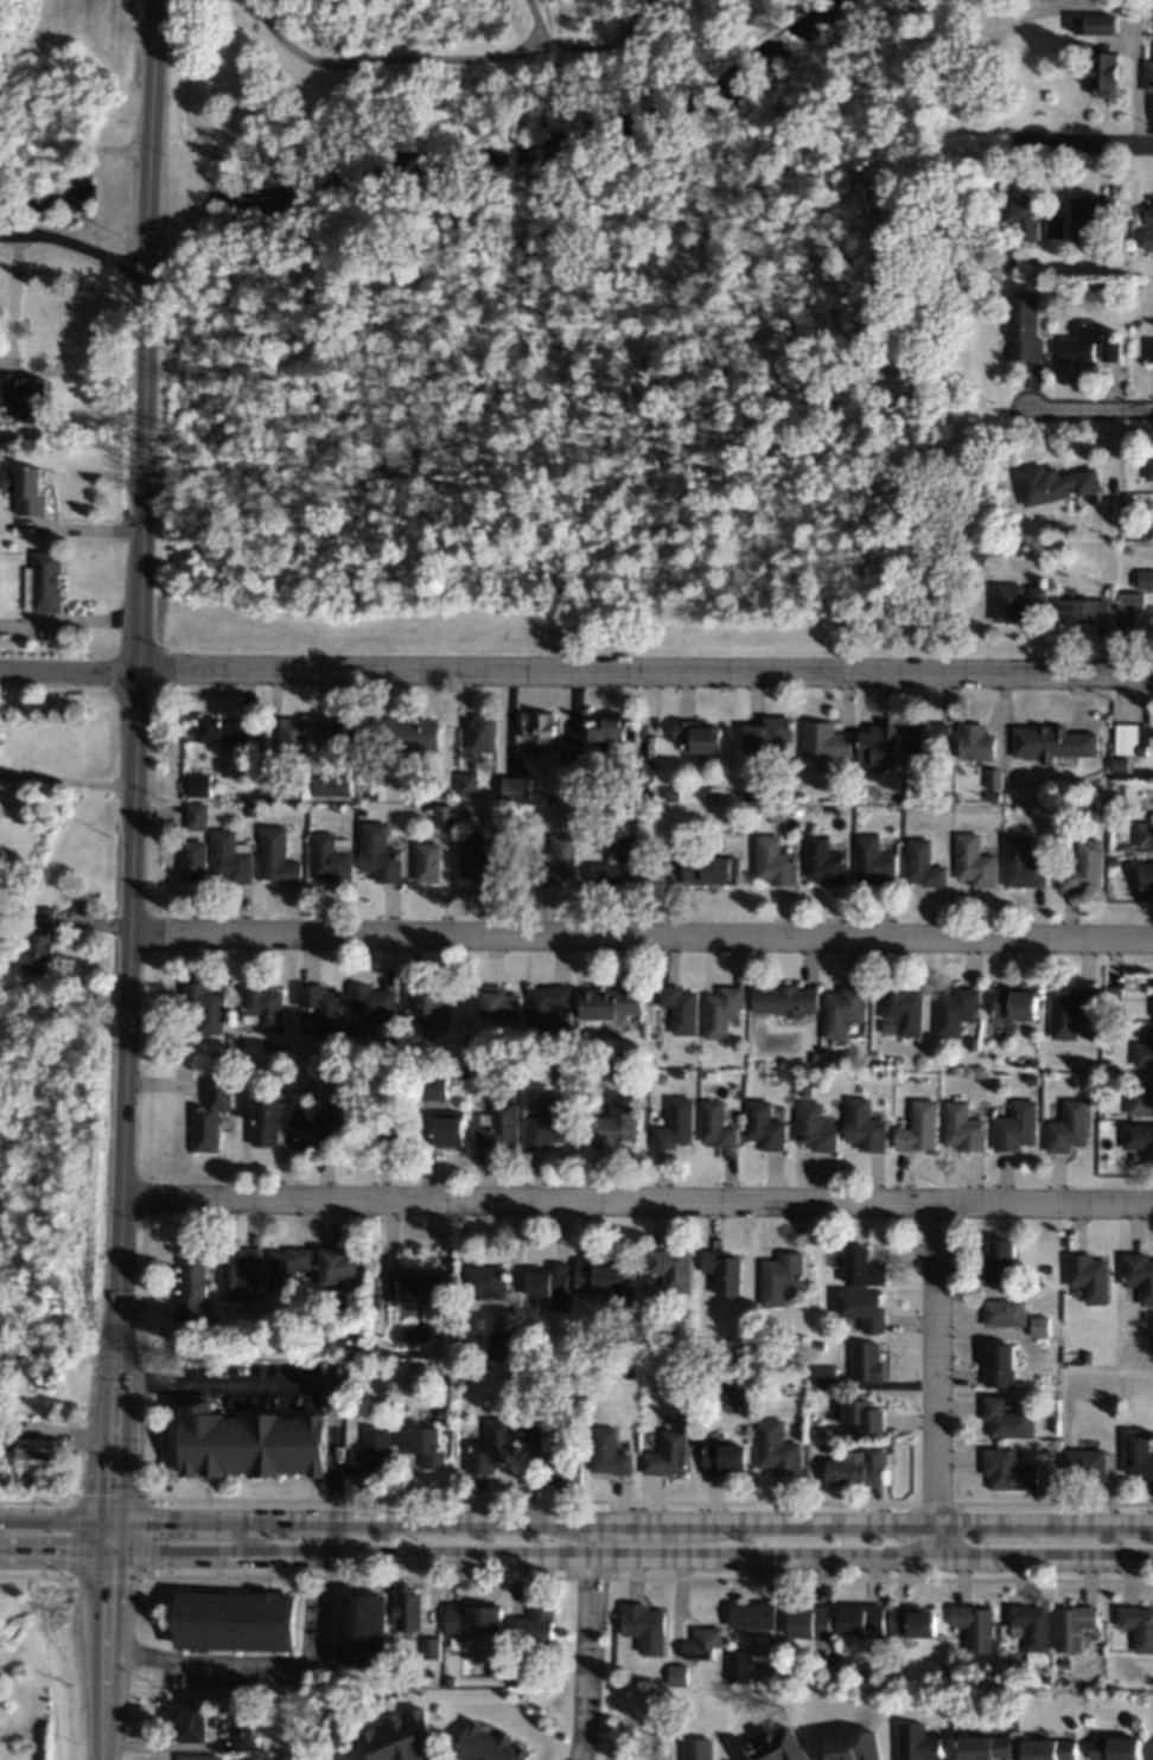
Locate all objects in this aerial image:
building: (1147, 4)
road: (535, 21)
building: (1100, 24)
road: (446, 58)
building: (1109, 72)
building: (1151, 76)
park: (66, 78)
building: (1052, 95)
river: (540, 141)
road: (1093, 149)
river: (151, 193)
river: (47, 197)
building: (1093, 213)
building: (1027, 215)
building: (1139, 215)
building: (1152, 218)
building: (1057, 227)
building: (1149, 237)
road: (74, 243)
building: (1015, 262)
building: (1063, 293)
road: (14, 300)
building: (1026, 325)
park: (579, 326)
road: (145, 334)
building: (1083, 342)
building: (1152, 349)
building: (1111, 350)
building: (23, 391)
road: (1093, 408)
building: (1149, 467)
building: (1057, 483)
building: (31, 489)
building: (1152, 531)
building: (1041, 553)
building: (1147, 579)
building: (44, 580)
building: (1020, 600)
building: (1132, 606)
building: (1085, 610)
road: (68, 669)
road: (643, 670)
road: (52, 688)
road: (120, 690)
building: (542, 726)
building: (228, 728)
building: (614, 729)
building: (339, 731)
building: (408, 732)
building: (485, 733)
building: (772, 733)
building: (1135, 733)
building: (295, 735)
building: (701, 736)
building: (929, 739)
building: (828, 740)
building: (979, 741)
building: (1056, 742)
building: (884, 745)
building: (573, 755)
building: (257, 763)
building: (1122, 763)
building: (645, 770)
building: (275, 771)
building: (996, 778)
road: (65, 779)
building: (470, 782)
building: (299, 783)
building: (333, 784)
building: (203, 785)
building: (648, 786)
building: (518, 787)
building: (357, 791)
building: (675, 793)
building: (750, 795)
building: (364, 797)
building: (949, 797)
building: (554, 798)
building: (340, 806)
building: (254, 809)
building: (467, 810)
building: (447, 815)
building: (200, 816)
building: (1146, 834)
building: (1129, 847)
building: (382, 853)
building: (280, 855)
building: (235, 856)
building: (333, 859)
building: (485, 859)
building: (559, 859)
building: (197, 860)
building: (777, 860)
building: (827, 860)
building: (877, 860)
building: (976, 860)
building: (431, 861)
building: (1024, 861)
building: (1114, 861)
building: (622, 862)
building: (925, 862)
building: (714, 866)
building: (1084, 866)
building: (1148, 878)
road: (639, 936)
building: (37, 939)
building: (21, 993)
building: (1114, 996)
building: (1152, 997)
building: (786, 999)
building: (502, 1002)
building: (613, 1002)
building: (1018, 1002)
building: (266, 1005)
building: (208, 1006)
building: (371, 1006)
building: (429, 1006)
building: (682, 1007)
building: (326, 1008)
building: (550, 1008)
building: (724, 1009)
building: (845, 1009)
building: (906, 1009)
building: (958, 1009)
building: (1075, 1010)
building: (1107, 1013)
building: (52, 1016)
building: (4, 1035)
building: (976, 1040)
building: (1145, 1053)
building: (1106, 1054)
building: (218, 1056)
building: (815, 1057)
building: (234, 1059)
building: (829, 1060)
building: (1038, 1063)
building: (465, 1070)
building: (247, 1071)
building: (614, 1073)
building: (713, 1073)
building: (1036, 1079)
building: (439, 1086)
building: (807, 1089)
road: (121, 1095)
building: (1142, 1101)
building: (214, 1114)
building: (274, 1120)
building: (340, 1120)
building: (550, 1122)
building: (619, 1122)
building: (677, 1123)
building: (719, 1124)
building: (766, 1124)
building: (867, 1124)
building: (501, 1125)
building: (817, 1125)
building: (922, 1125)
building: (1019, 1125)
building: (966, 1127)
building: (1071, 1127)
building: (452, 1128)
building: (397, 1133)
building: (1108, 1137)
building: (1140, 1137)
road: (635, 1199)
building: (1005, 1261)
building: (340, 1265)
building: (291, 1267)
building: (865, 1267)
building: (675, 1268)
building: (1052, 1268)
building: (727, 1270)
building: (242, 1273)
building: (1140, 1273)
building: (604, 1275)
building: (1093, 1275)
building: (783, 1276)
building: (488, 1280)
building: (195, 1283)
building: (554, 1283)
building: (415, 1286)
building: (631, 1299)
building: (376, 1301)
building: (867, 1308)
building: (1008, 1312)
building: (1044, 1325)
building: (359, 1327)
building: (254, 1334)
building: (676, 1337)
building: (505, 1345)
building: (823, 1345)
building: (490, 1350)
building: (7, 1351)
building: (766, 1352)
building: (1090, 1357)
building: (871, 1360)
building: (1005, 1364)
building: (376, 1367)
building: (469, 1370)
building: (766, 1371)
building: (708, 1376)
building: (829, 1376)
building: (690, 1377)
road: (934, 1379)
road: (282, 1390)
building: (866, 1414)
building: (1011, 1417)
building: (817, 1423)
building: (535, 1428)
building: (254, 1442)
building: (426, 1443)
building: (33, 1446)
building: (495, 1447)
building: (782, 1447)
building: (376, 1449)
building: (1141, 1450)
building: (612, 1452)
building: (671, 1453)
building: (728, 1456)
building: (1090, 1462)
building: (566, 1466)
building: (1012, 1468)
building: (860, 1472)
traffic signals: (110, 1494)
road: (36, 1500)
road: (108, 1501)
road: (55, 1518)
traffic signals: (161, 1518)
road: (630, 1522)
road: (247, 1536)
road: (71, 1537)
road: (142, 1537)
road: (53, 1554)
traffic signals: (64, 1555)
road: (630, 1556)
road: (104, 1573)
traffic signals: (107, 1581)
building: (409, 1608)
building: (753, 1618)
building: (235, 1621)
building: (912, 1621)
building: (470, 1622)
building: (811, 1622)
building: (864, 1624)
building: (1138, 1626)
building: (644, 1627)
building: (974, 1627)
building: (1072, 1627)
building: (362, 1628)
building: (535, 1628)
building: (1031, 1630)
road: (103, 1638)
road: (586, 1640)
building: (702, 1644)
building: (432, 1647)
road: (191, 1663)
building: (1063, 1663)
building: (739, 1666)
building: (677, 1675)
building: (949, 1676)
building: (514, 1677)
building: (893, 1677)
building: (789, 1678)
building: (448, 1679)
building: (1044, 1679)
building: (681, 1701)
building: (1089, 1721)
building: (192, 1722)
building: (1134, 1722)
building: (243, 1734)
building: (402, 1739)
building: (918, 1742)
building: (489, 1745)
building: (854, 1747)
building: (985, 1747)
building: (776, 1748)
building: (1115, 1748)
building: (696, 1749)
building: (1050, 1749)
building: (200, 1758)

